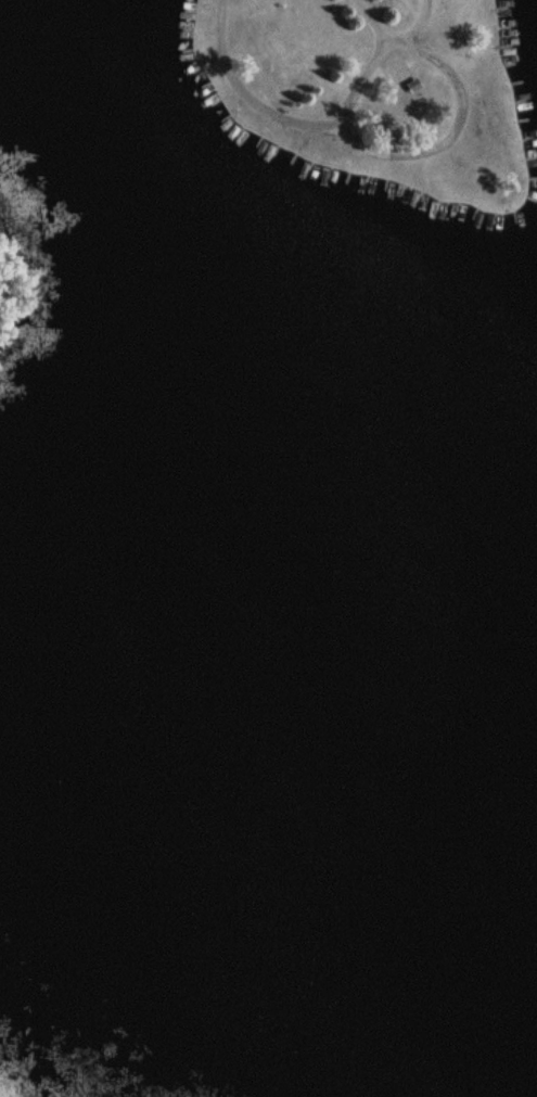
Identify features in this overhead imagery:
road: (374, 13)
building: (413, 86)

